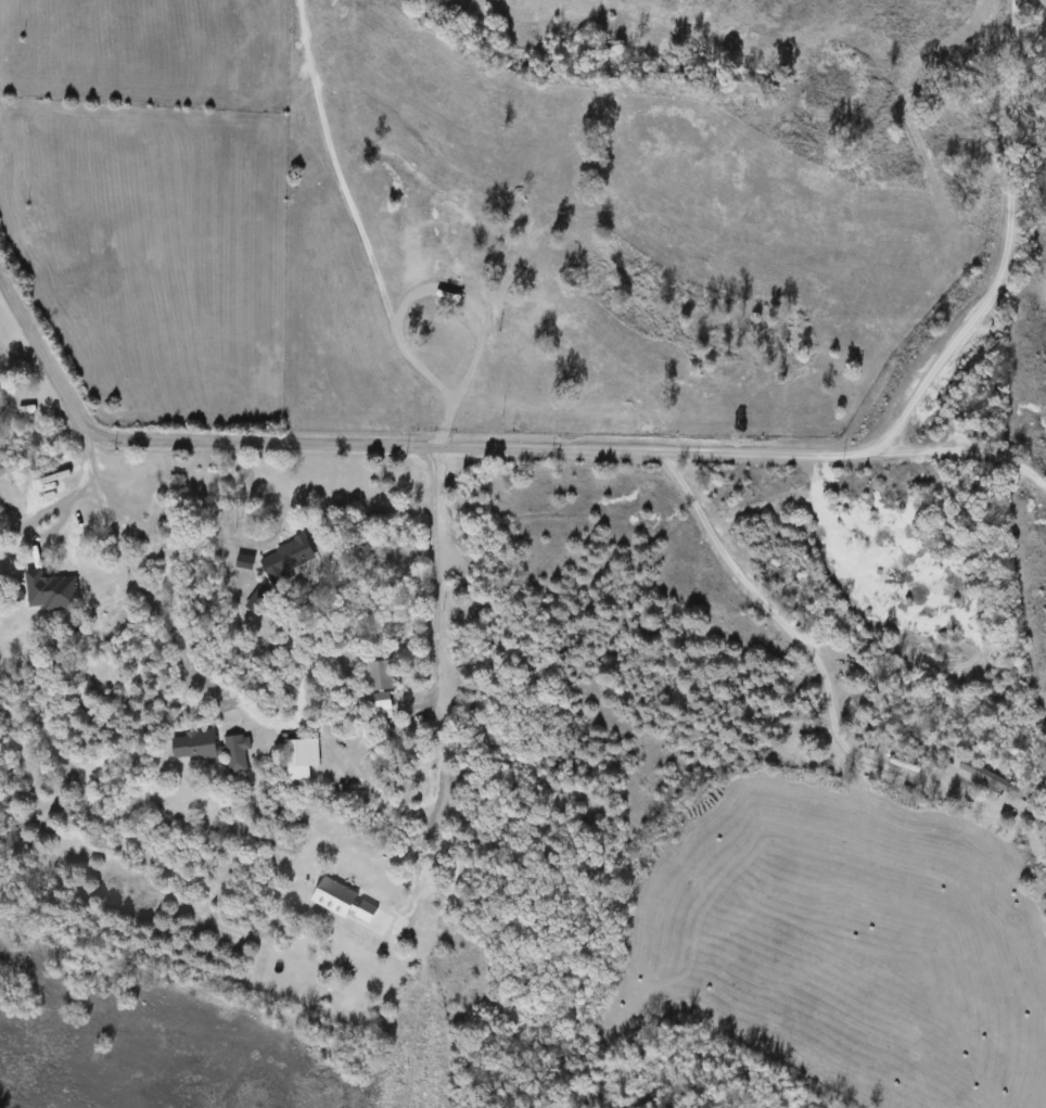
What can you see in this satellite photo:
building: (495, 246)
road: (469, 374)
road: (638, 449)
road: (266, 537)
building: (52, 593)
road: (438, 627)
road: (805, 644)
road: (204, 676)
building: (381, 685)
building: (213, 750)
building: (303, 759)
building: (986, 776)
building: (318, 816)
road: (417, 868)
building: (345, 902)

